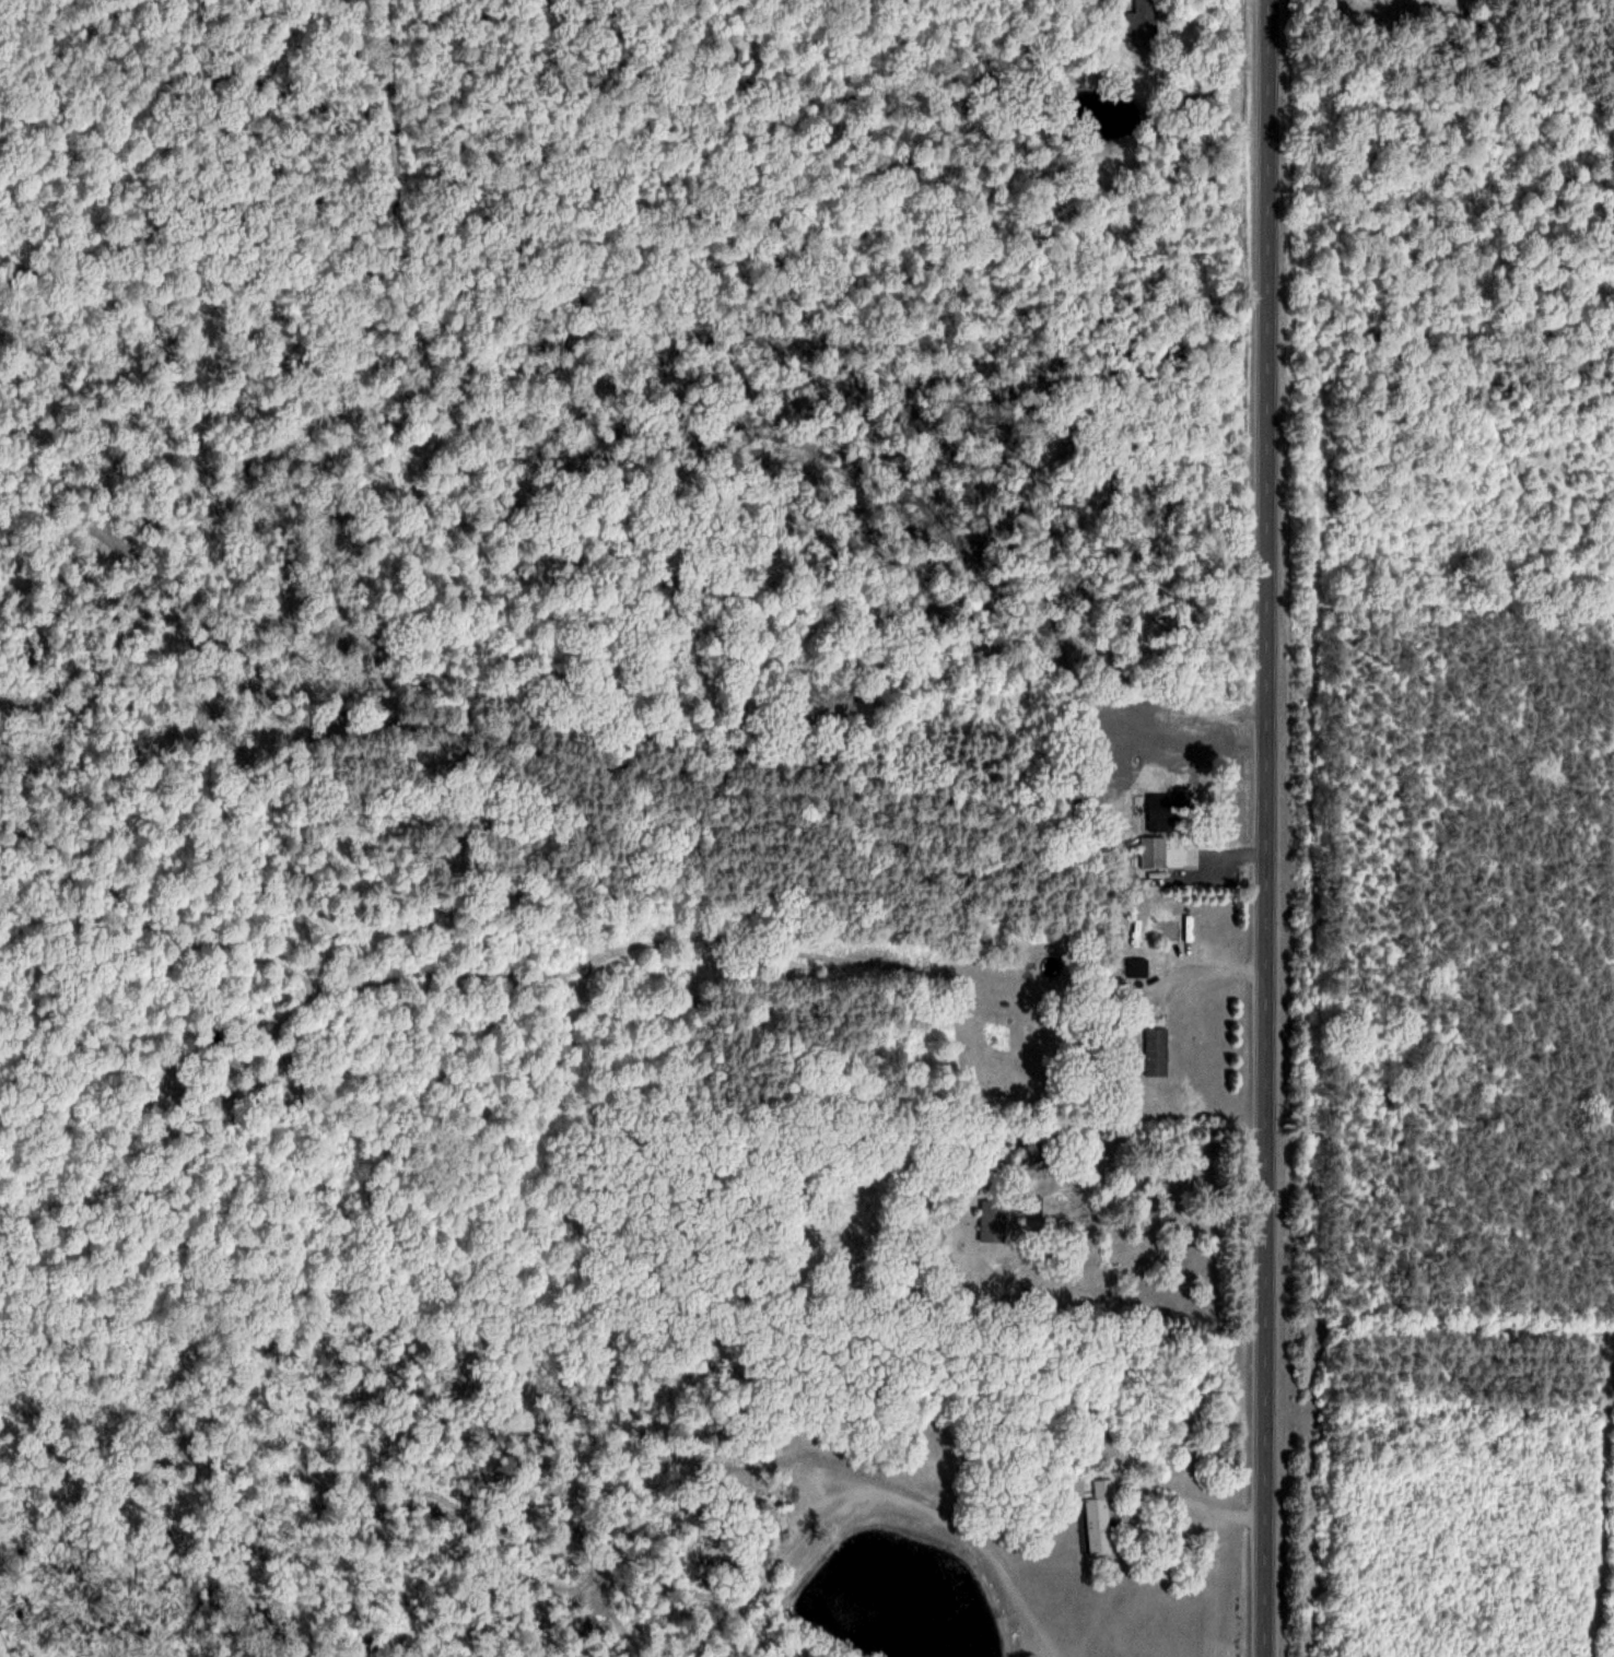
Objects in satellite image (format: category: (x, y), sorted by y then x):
building: (1141, 16)
building: (1161, 810)
road: (1266, 828)
building: (1153, 850)
building: (1136, 965)
building: (1156, 1050)
road: (1141, 1484)
building: (1099, 1516)

